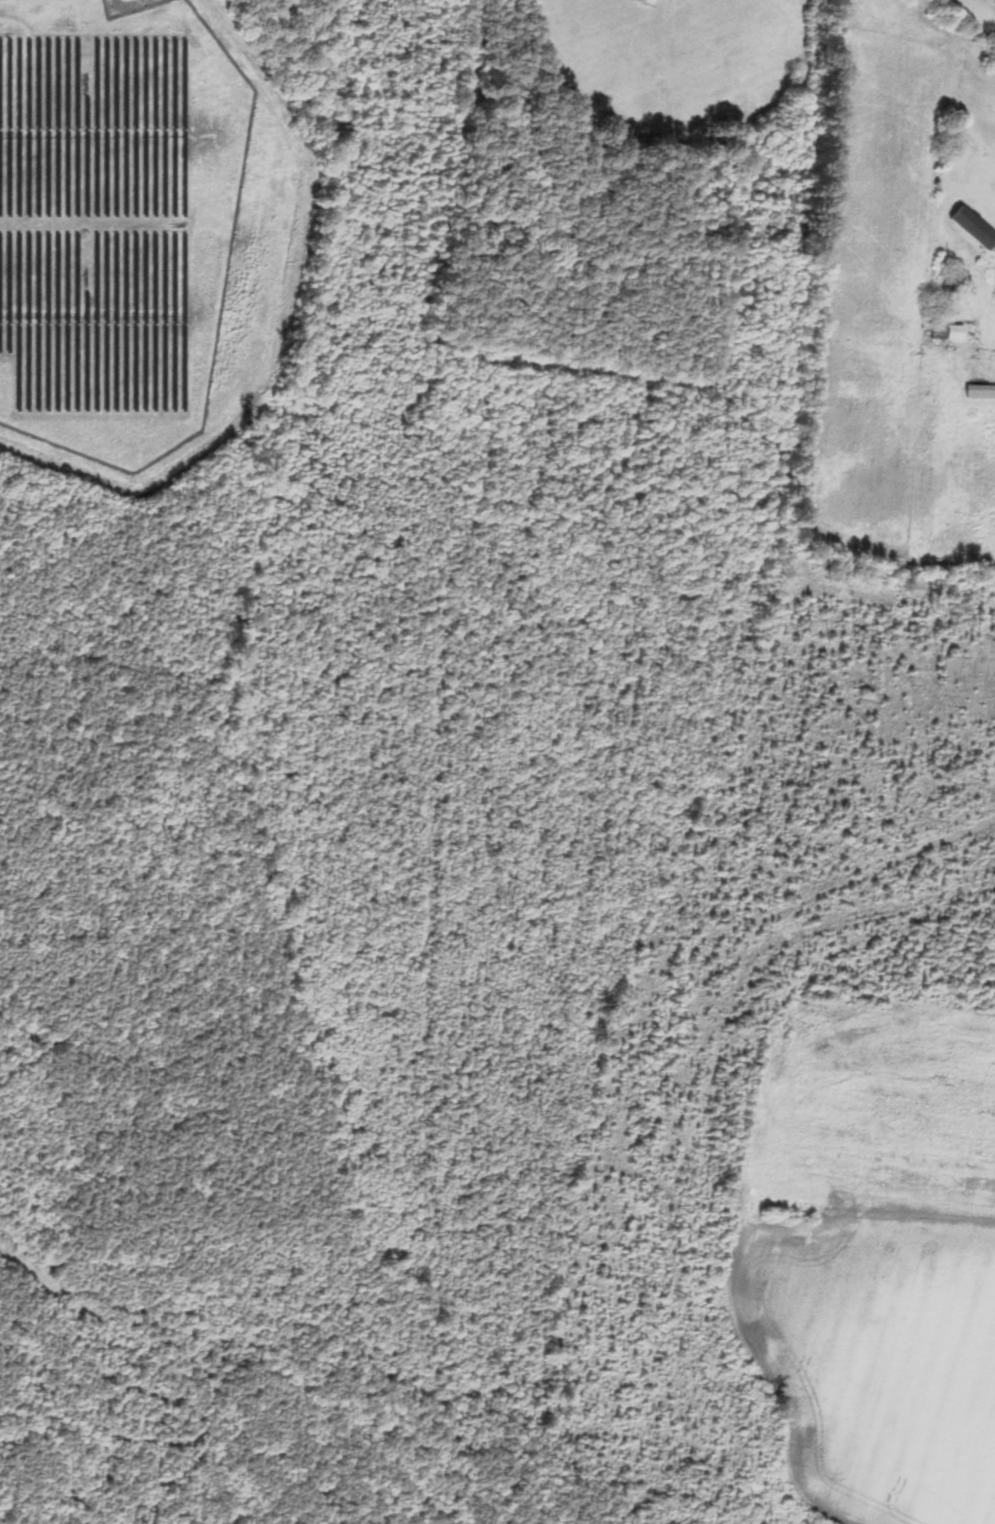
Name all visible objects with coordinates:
solar farm: (103, 217)
building: (970, 245)
building: (978, 391)

